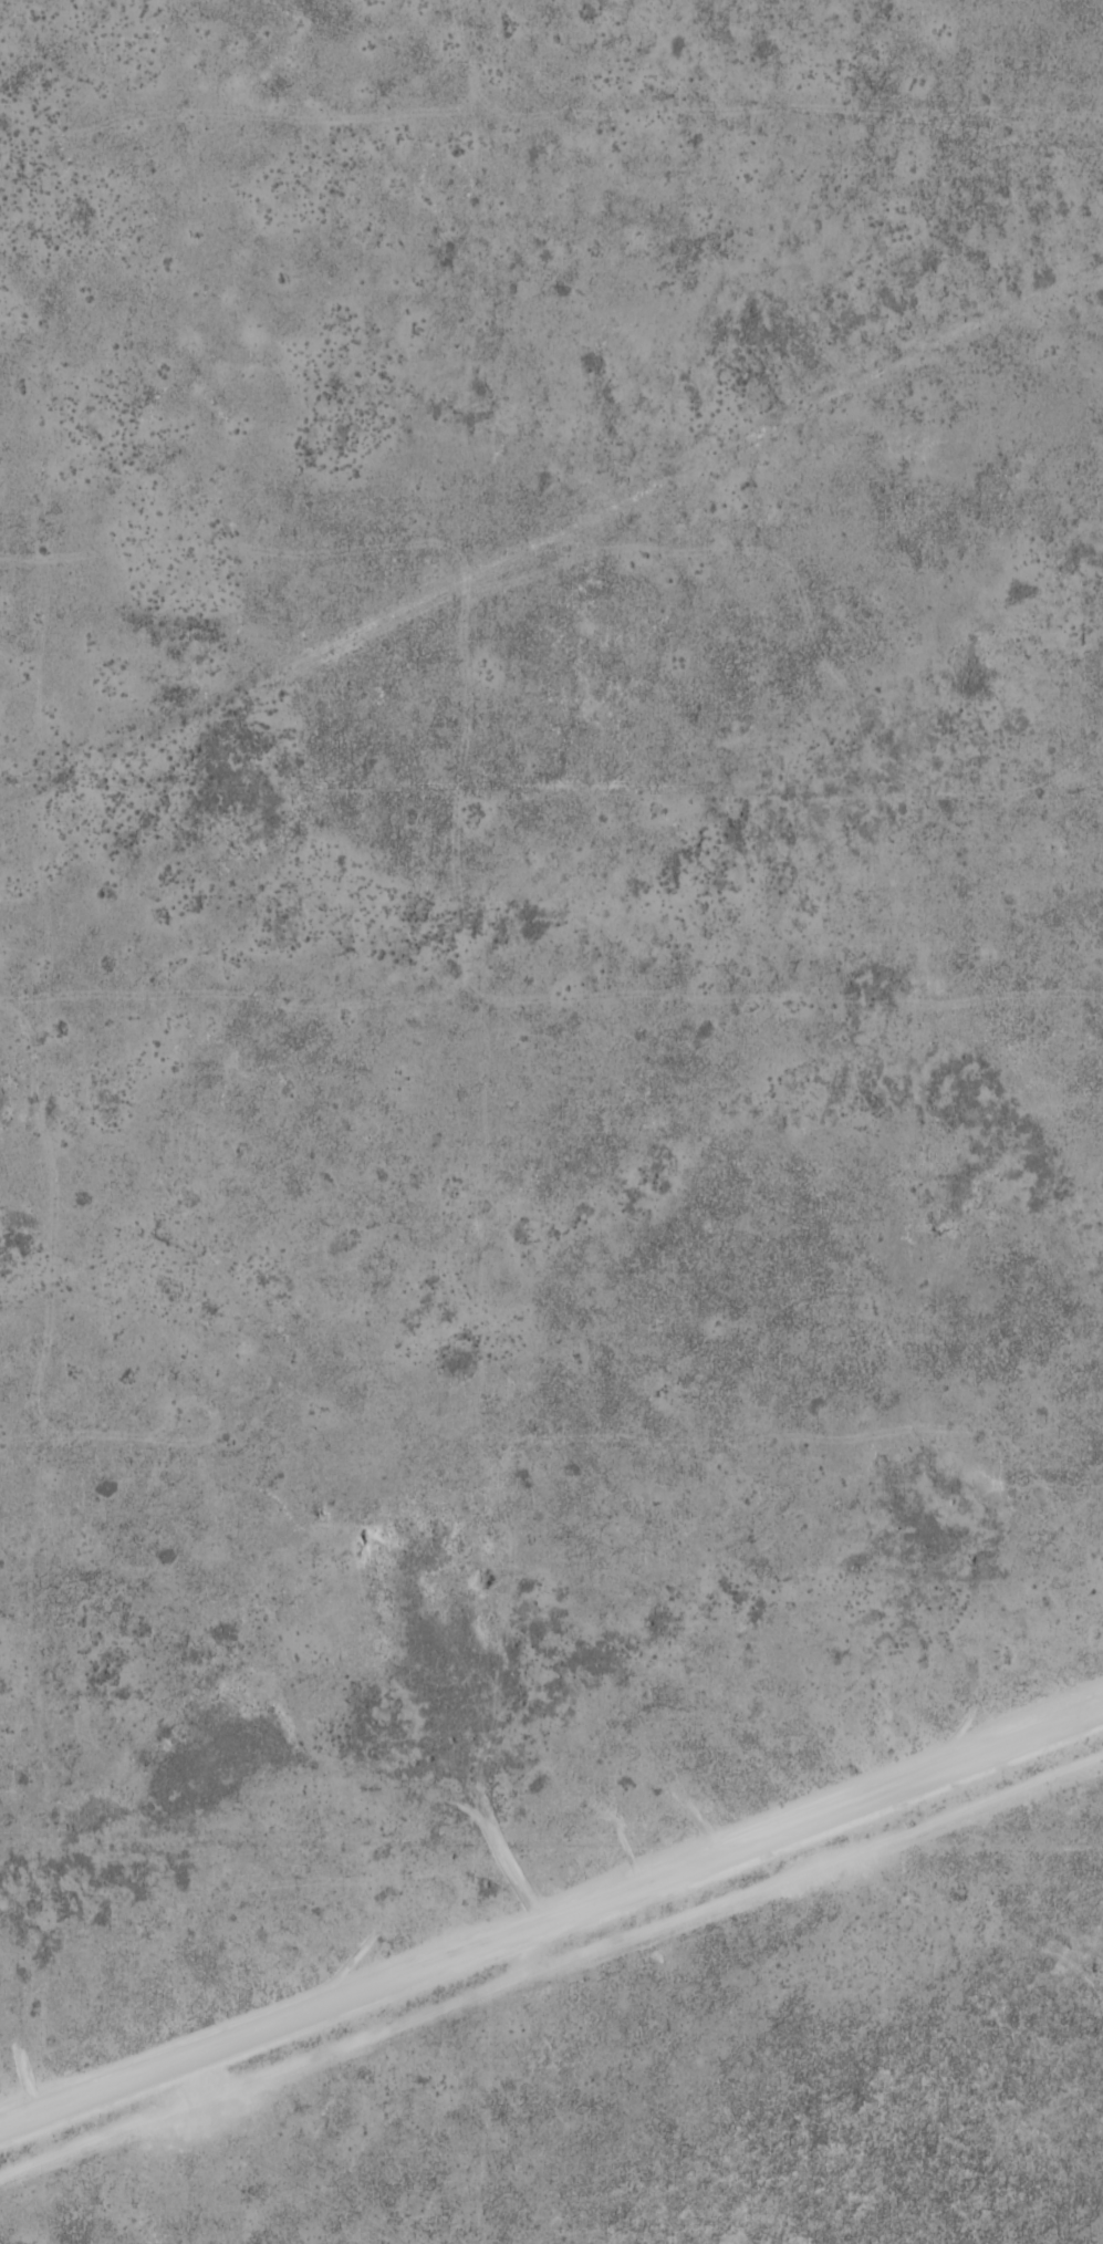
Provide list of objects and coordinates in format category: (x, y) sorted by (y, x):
road: (551, 1911)

